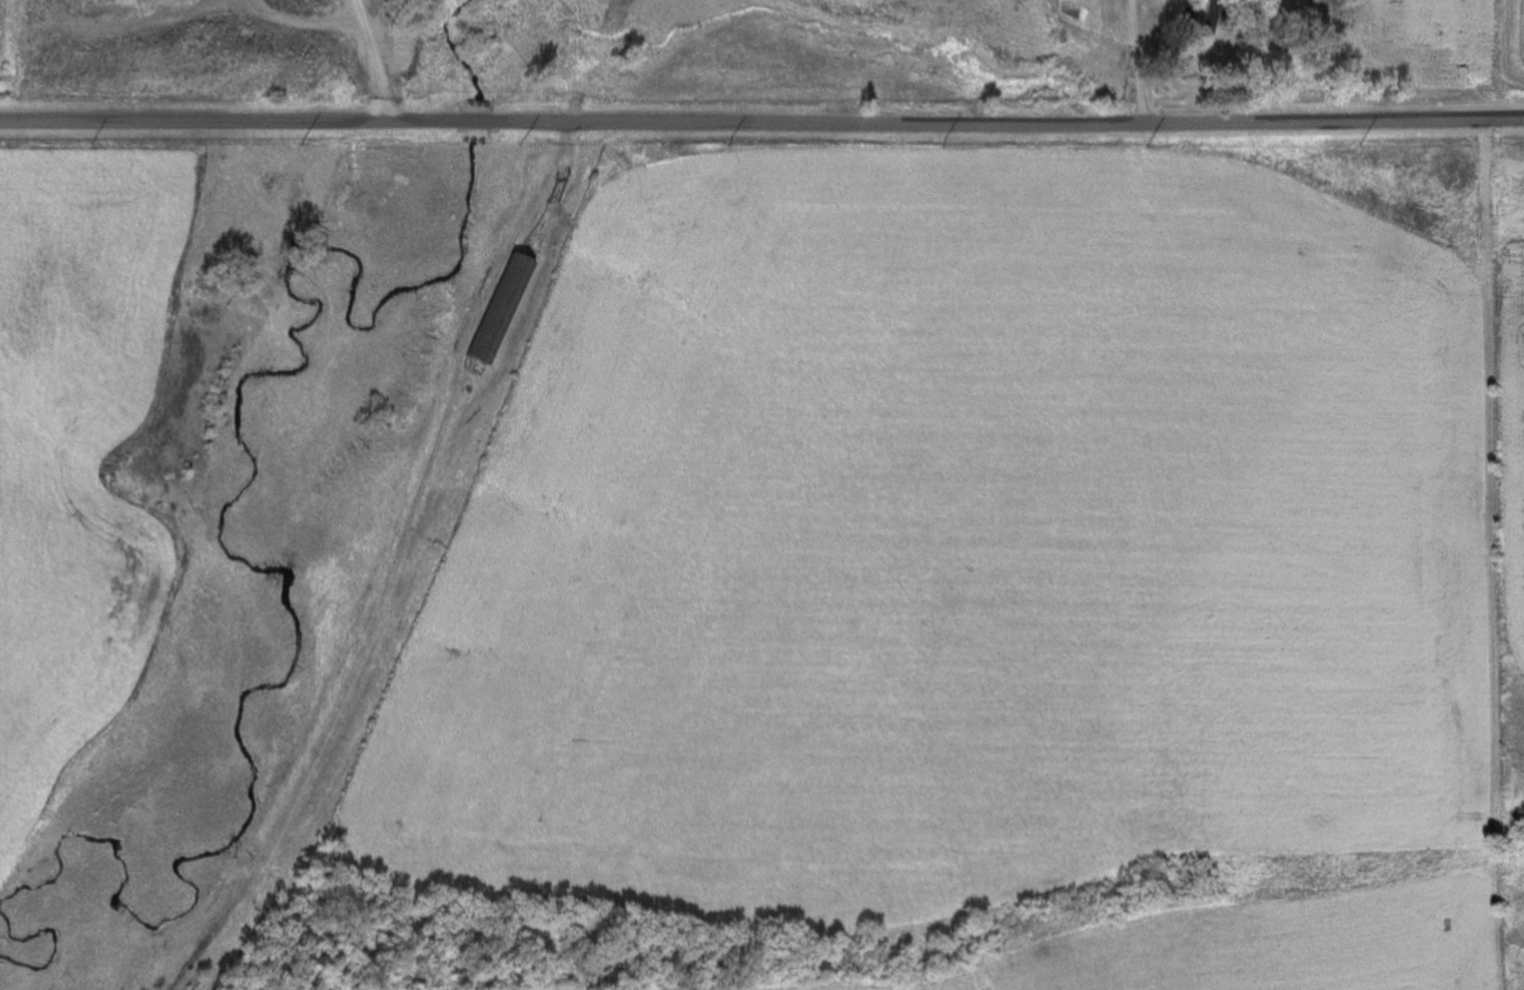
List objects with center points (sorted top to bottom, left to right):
building: (1067, 13)
building: (1204, 22)
road: (362, 62)
road: (476, 123)
road: (230, 125)
road: (1007, 130)
building: (499, 310)
road: (465, 343)

